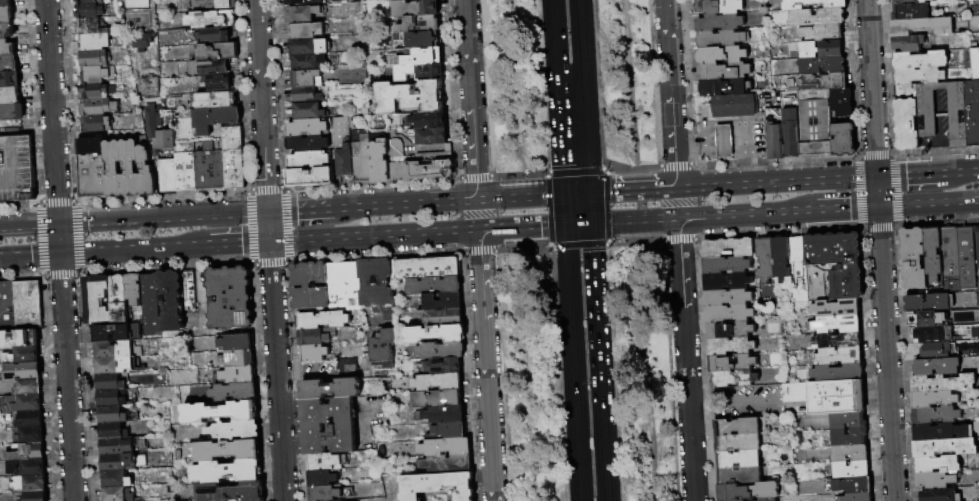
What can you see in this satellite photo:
building: (397, 0)
building: (84, 1)
building: (102, 1)
building: (122, 1)
building: (909, 1)
building: (299, 3)
building: (6, 4)
building: (813, 4)
building: (216, 5)
building: (719, 7)
building: (413, 8)
building: (90, 10)
building: (910, 12)
building: (300, 14)
building: (7, 15)
building: (816, 17)
building: (212, 20)
building: (720, 23)
building: (420, 24)
building: (92, 27)
building: (921, 27)
building: (7, 31)
building: (307, 31)
building: (821, 32)
building: (216, 36)
building: (418, 39)
building: (721, 39)
building: (95, 42)
building: (144, 43)
building: (907, 43)
building: (307, 47)
building: (7, 48)
building: (827, 50)
building: (218, 52)
road: (581, 53)
building: (722, 55)
building: (420, 57)
building: (95, 59)
building: (919, 60)
building: (307, 62)
building: (9, 64)
building: (974, 64)
building: (821, 65)
building: (210, 69)
building: (724, 71)
building: (419, 72)
building: (97, 75)
building: (918, 76)
building: (305, 79)
building: (10, 80)
building: (822, 82)
building: (219, 84)
road: (630, 84)
building: (725, 87)
building: (152, 88)
building: (978, 88)
building: (904, 91)
building: (97, 92)
road: (670, 94)
road: (653, 95)
building: (304, 96)
building: (10, 97)
building: (410, 97)
road: (557, 97)
road: (470, 100)
building: (217, 101)
building: (842, 103)
road: (261, 106)
building: (733, 106)
building: (98, 108)
road: (51, 111)
building: (311, 111)
building: (11, 113)
building: (972, 113)
building: (941, 116)
building: (215, 120)
building: (428, 120)
building: (154, 122)
building: (814, 122)
building: (96, 124)
building: (906, 125)
building: (306, 128)
building: (342, 129)
building: (355, 134)
building: (785, 134)
road: (724, 135)
building: (428, 136)
road: (572, 137)
road: (695, 137)
building: (843, 139)
building: (167, 140)
building: (724, 141)
gas station: (724, 141)
building: (307, 143)
road: (587, 150)
road: (747, 152)
building: (234, 158)
building: (361, 159)
building: (308, 160)
building: (400, 161)
building: (344, 162)
building: (379, 162)
road: (673, 165)
road: (606, 166)
building: (428, 167)
building: (131, 168)
building: (186, 168)
building: (211, 168)
building: (92, 169)
road: (574, 169)
road: (601, 169)
building: (17, 170)
building: (115, 170)
road: (960, 172)
building: (147, 173)
road: (518, 174)
road: (545, 175)
road: (908, 175)
building: (169, 177)
building: (309, 177)
road: (473, 177)
traffic signals: (876, 178)
road: (776, 183)
road: (632, 191)
road: (577, 194)
traffic signals: (590, 194)
traffic signals: (564, 195)
road: (520, 198)
road: (418, 203)
road: (677, 203)
road: (928, 203)
traffic signals: (878, 206)
road: (606, 207)
road: (842, 207)
road: (590, 208)
road: (564, 209)
road: (313, 210)
road: (547, 210)
traffic signals: (268, 212)
road: (478, 214)
road: (743, 214)
road: (163, 218)
road: (634, 220)
road: (578, 223)
traffic signals: (591, 223)
traffic signals: (58, 224)
traffic signals: (565, 224)
road: (29, 226)
road: (522, 226)
road: (374, 235)
road: (59, 239)
traffic signals: (269, 241)
road: (234, 242)
road: (606, 243)
road: (577, 246)
road: (549, 247)
building: (727, 248)
road: (130, 249)
park: (579, 250)
road: (880, 250)
building: (932, 253)
traffic signals: (60, 254)
road: (29, 255)
building: (965, 257)
building: (913, 258)
building: (948, 258)
building: (764, 259)
building: (779, 259)
road: (567, 265)
building: (725, 265)
building: (832, 266)
building: (430, 268)
building: (797, 269)
building: (725, 282)
building: (311, 286)
building: (345, 286)
building: (434, 286)
building: (377, 287)
building: (134, 289)
building: (190, 292)
building: (231, 298)
building: (727, 298)
building: (98, 300)
building: (119, 301)
building: (171, 301)
building: (442, 302)
building: (926, 302)
building: (29, 305)
building: (151, 306)
building: (8, 307)
building: (835, 307)
building: (728, 313)
building: (439, 317)
building: (925, 319)
building: (322, 321)
building: (835, 323)
building: (729, 330)
building: (117, 333)
building: (932, 334)
building: (435, 335)
building: (316, 337)
building: (20, 339)
building: (838, 340)
building: (237, 343)
building: (730, 346)
building: (115, 350)
building: (441, 350)
building: (934, 350)
building: (383, 351)
building: (315, 353)
building: (28, 355)
road: (275, 356)
building: (838, 356)
road: (685, 359)
building: (237, 360)
road: (599, 361)
building: (732, 363)
building: (362, 364)
road: (486, 365)
building: (113, 366)
building: (346, 366)
building: (443, 366)
building: (935, 366)
building: (23, 371)
road: (647, 371)
building: (836, 372)
building: (378, 375)
building: (239, 376)
road: (66, 377)
building: (732, 379)
building: (110, 383)
building: (438, 383)
building: (941, 383)
building: (7, 387)
building: (28, 387)
building: (330, 389)
building: (235, 393)
building: (827, 396)
building: (112, 399)
building: (437, 399)
road: (746, 399)
building: (932, 399)
road: (701, 400)
road: (575, 404)
building: (24, 405)
building: (220, 413)
building: (442, 415)
building: (934, 415)
building: (112, 416)
building: (358, 416)
building: (30, 420)
building: (847, 420)
building: (329, 426)
building: (737, 426)
building: (113, 431)
building: (235, 431)
building: (935, 431)
building: (447, 432)
building: (31, 436)
building: (848, 437)
building: (737, 442)
building: (118, 447)
building: (943, 447)
building: (446, 448)
building: (228, 451)
building: (29, 453)
building: (849, 453)
building: (737, 459)
building: (326, 462)
building: (115, 464)
building: (936, 464)
building: (449, 465)
building: (28, 468)
building: (851, 469)
building: (228, 472)
building: (738, 475)
building: (322, 478)
building: (116, 480)
building: (934, 480)
building: (31, 484)
building: (852, 485)
building: (438, 486)
building: (748, 491)
building: (231, 492)
building: (325, 493)
building: (117, 495)
building: (937, 495)
building: (36, 496)
building: (855, 497)
building: (739, 500)
building: (768, 500)

